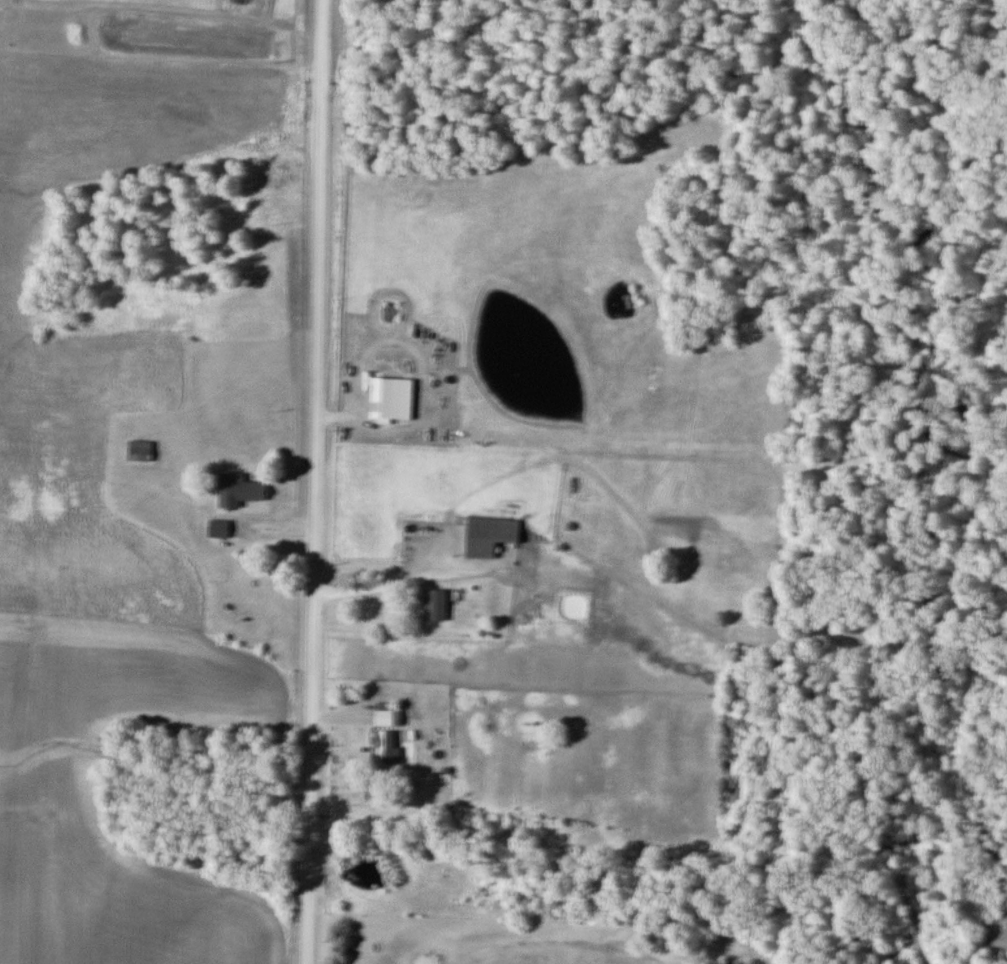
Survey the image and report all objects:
building: (142, 449)
road: (316, 482)
building: (242, 489)
building: (221, 527)
building: (492, 534)
road: (408, 581)
building: (438, 604)
building: (390, 712)
building: (540, 732)
building: (388, 746)

